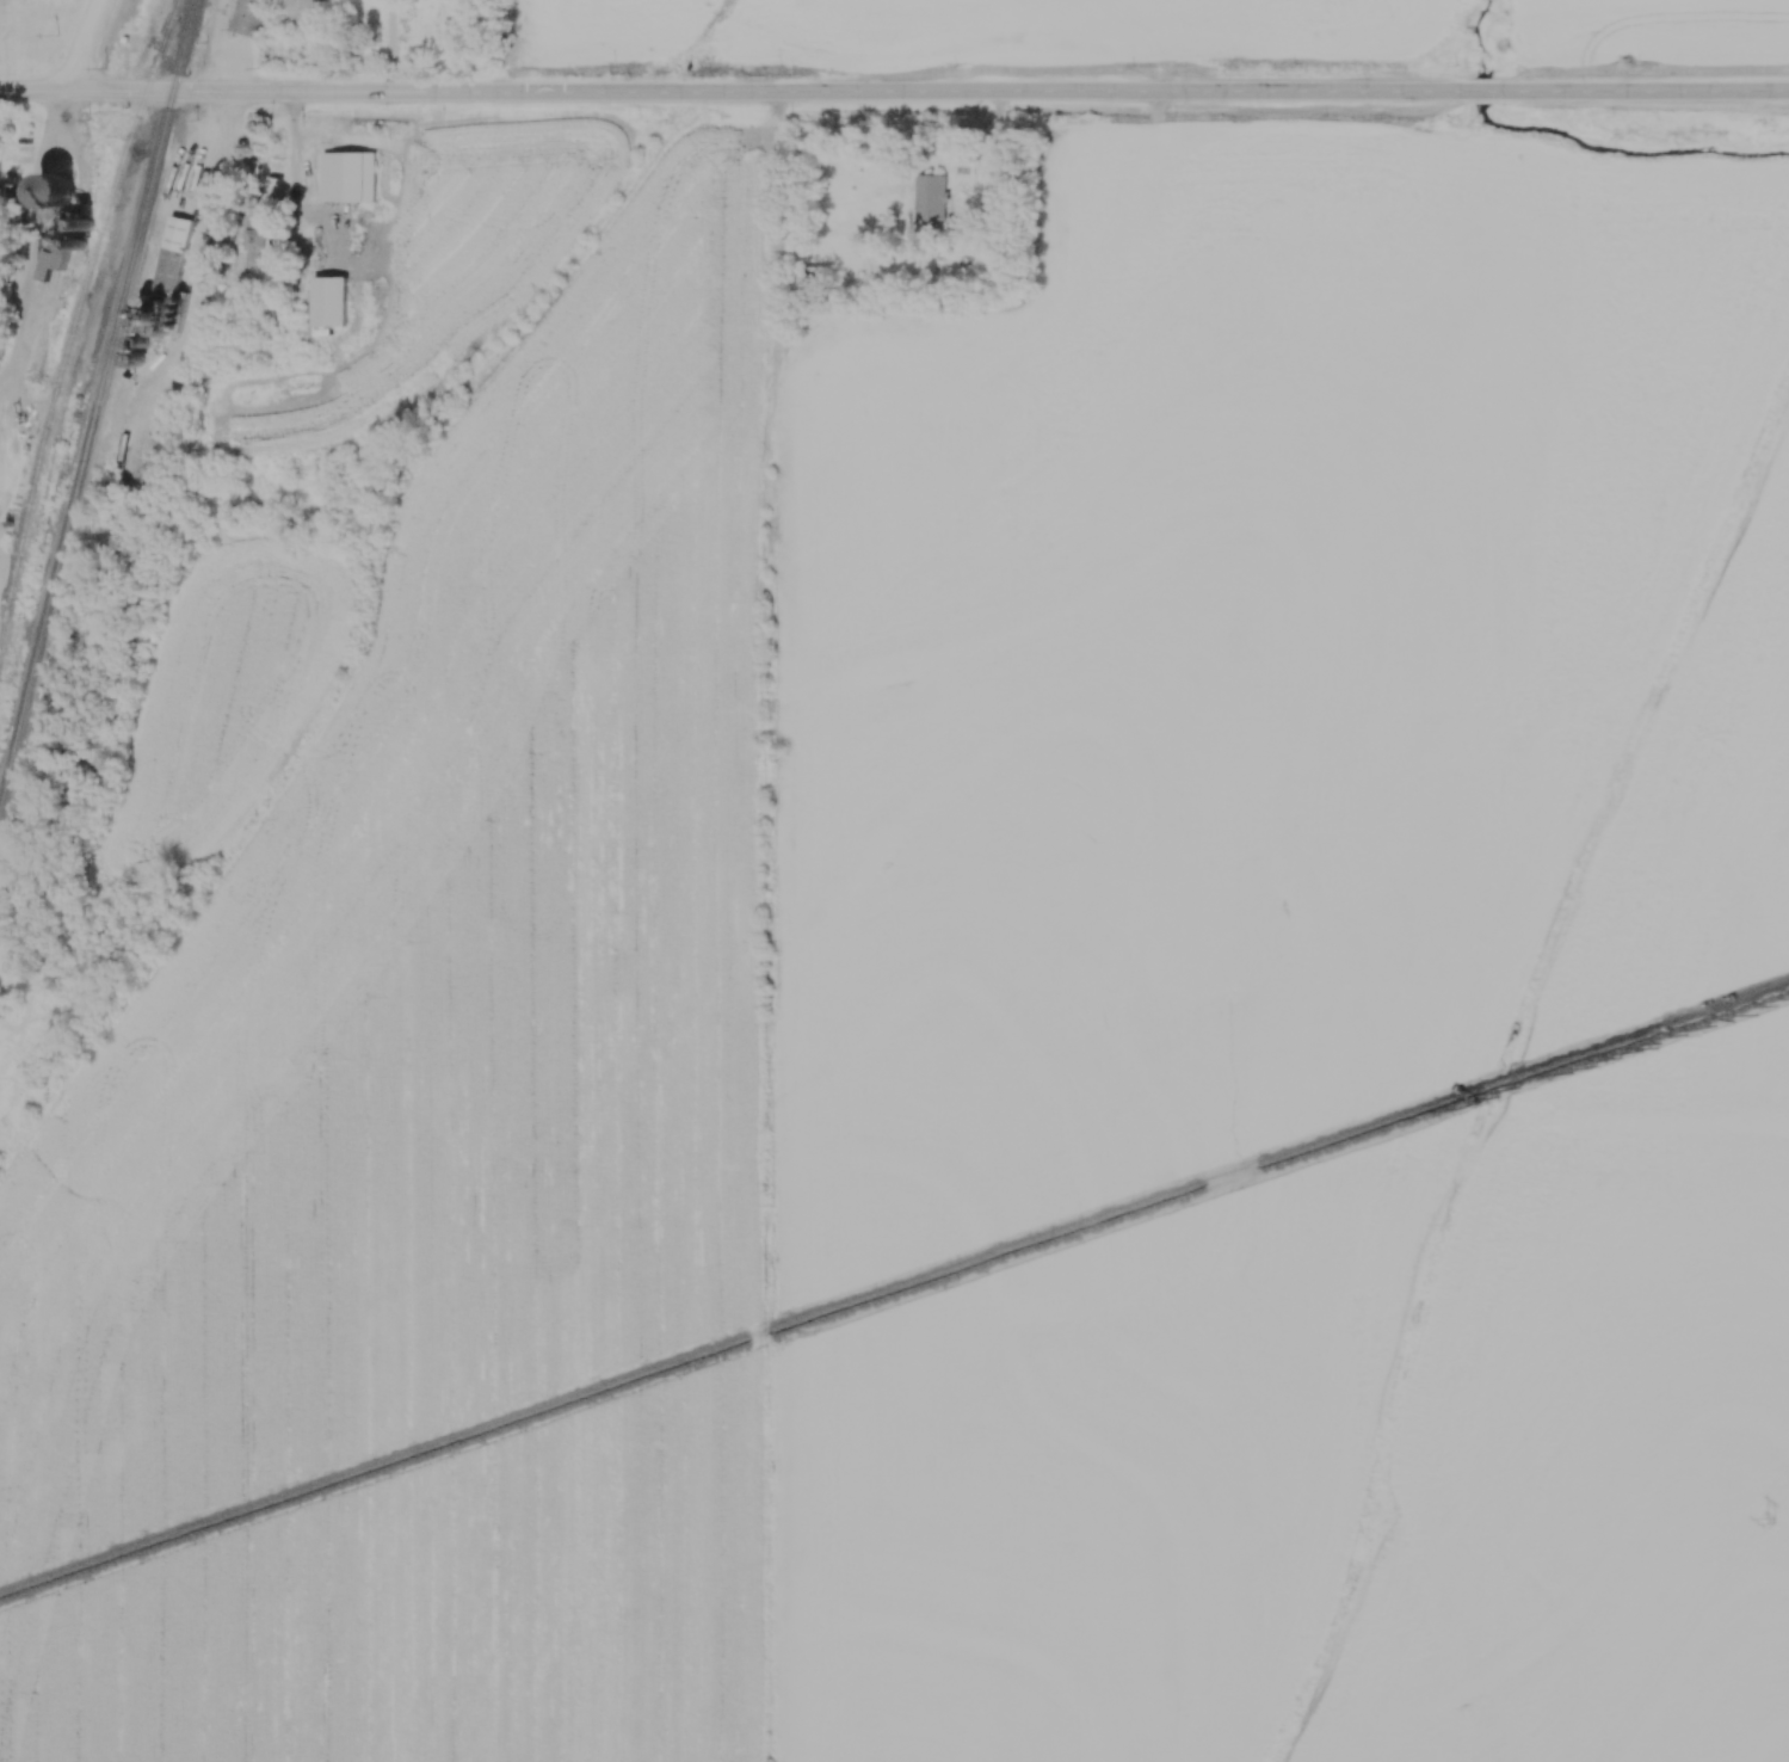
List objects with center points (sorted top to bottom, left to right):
building: (263, 1)
building: (306, 13)
road: (86, 49)
road: (391, 49)
road: (894, 97)
building: (334, 162)
building: (365, 162)
road: (998, 174)
building: (61, 192)
building: (934, 199)
road: (301, 209)
building: (259, 240)
road: (35, 244)
building: (174, 261)
building: (54, 265)
road: (208, 273)
building: (332, 302)
railway: (75, 319)
road: (138, 389)
railway: (97, 396)
road: (785, 929)
power tower: (1770, 1522)

